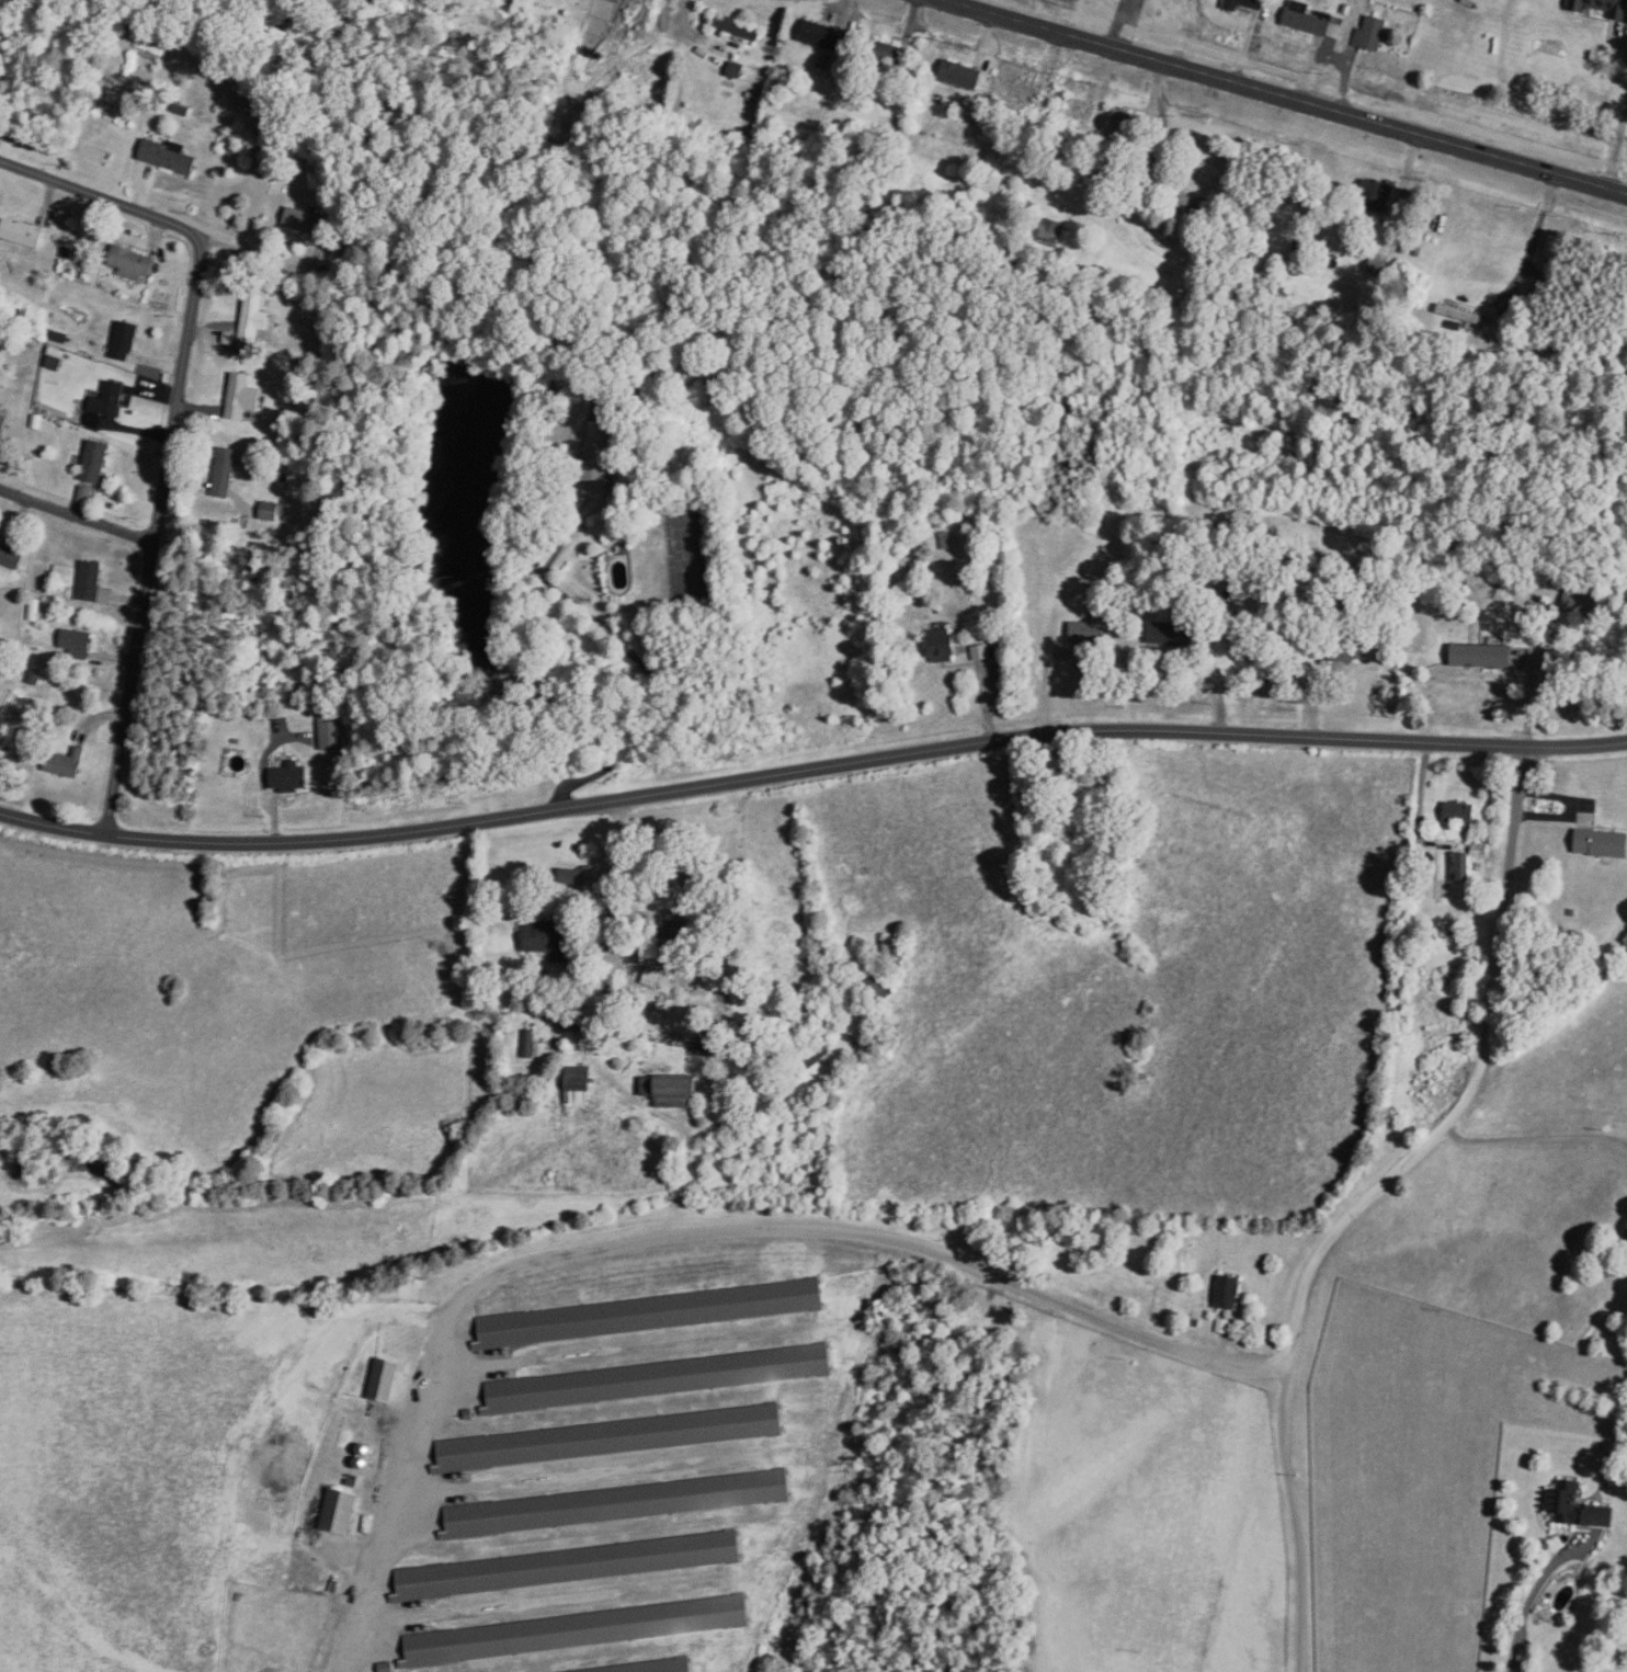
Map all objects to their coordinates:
building: (668, 2)
building: (1247, 4)
building: (1602, 8)
building: (1313, 21)
road: (685, 23)
building: (739, 29)
building: (651, 30)
building: (1373, 34)
building: (829, 37)
road: (1626, 38)
building: (890, 54)
building: (964, 76)
building: (1026, 93)
road: (1287, 95)
building: (1083, 111)
building: (1129, 125)
road: (1617, 147)
building: (169, 156)
building: (306, 221)
building: (22, 232)
building: (1056, 232)
road: (1536, 235)
road: (265, 259)
building: (133, 263)
building: (1464, 315)
building: (254, 323)
building: (125, 341)
building: (726, 384)
building: (243, 398)
building: (110, 401)
building: (3, 425)
road: (172, 431)
building: (96, 462)
building: (600, 470)
building: (226, 474)
building: (88, 496)
building: (273, 512)
road: (77, 515)
building: (947, 542)
building: (11, 555)
building: (93, 583)
building: (1481, 587)
road: (562, 593)
building: (1089, 633)
building: (1177, 635)
building: (78, 644)
building: (943, 646)
road: (1261, 670)
building: (281, 725)
building: (331, 732)
building: (68, 763)
building: (237, 763)
road: (810, 769)
building: (292, 778)
building: (1465, 811)
building: (1604, 841)
road: (621, 876)
building: (551, 936)
building: (681, 943)
building: (883, 990)
building: (580, 1082)
building: (680, 1092)
road: (1534, 1138)
road: (1368, 1197)
road: (684, 1232)
building: (1229, 1293)
building: (652, 1313)
building: (660, 1378)
building: (386, 1380)
building: (612, 1437)
building: (618, 1503)
building: (1580, 1506)
building: (341, 1511)
building: (570, 1565)
road: (1531, 1600)
building: (580, 1629)
building: (656, 1668)

